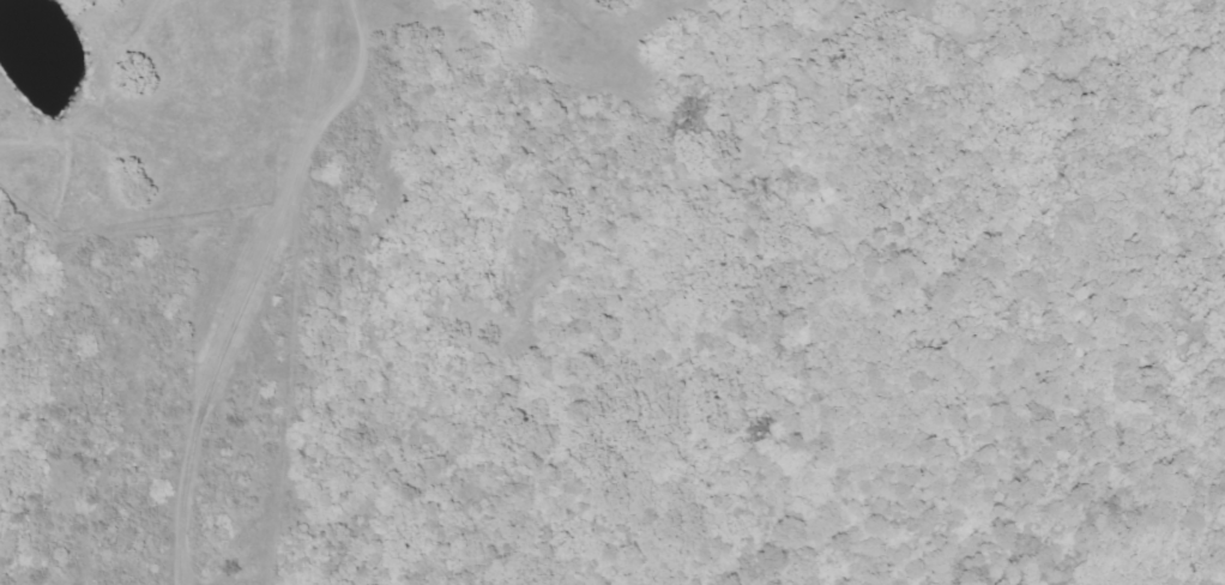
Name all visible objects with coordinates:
road: (374, 288)
road: (461, 444)

